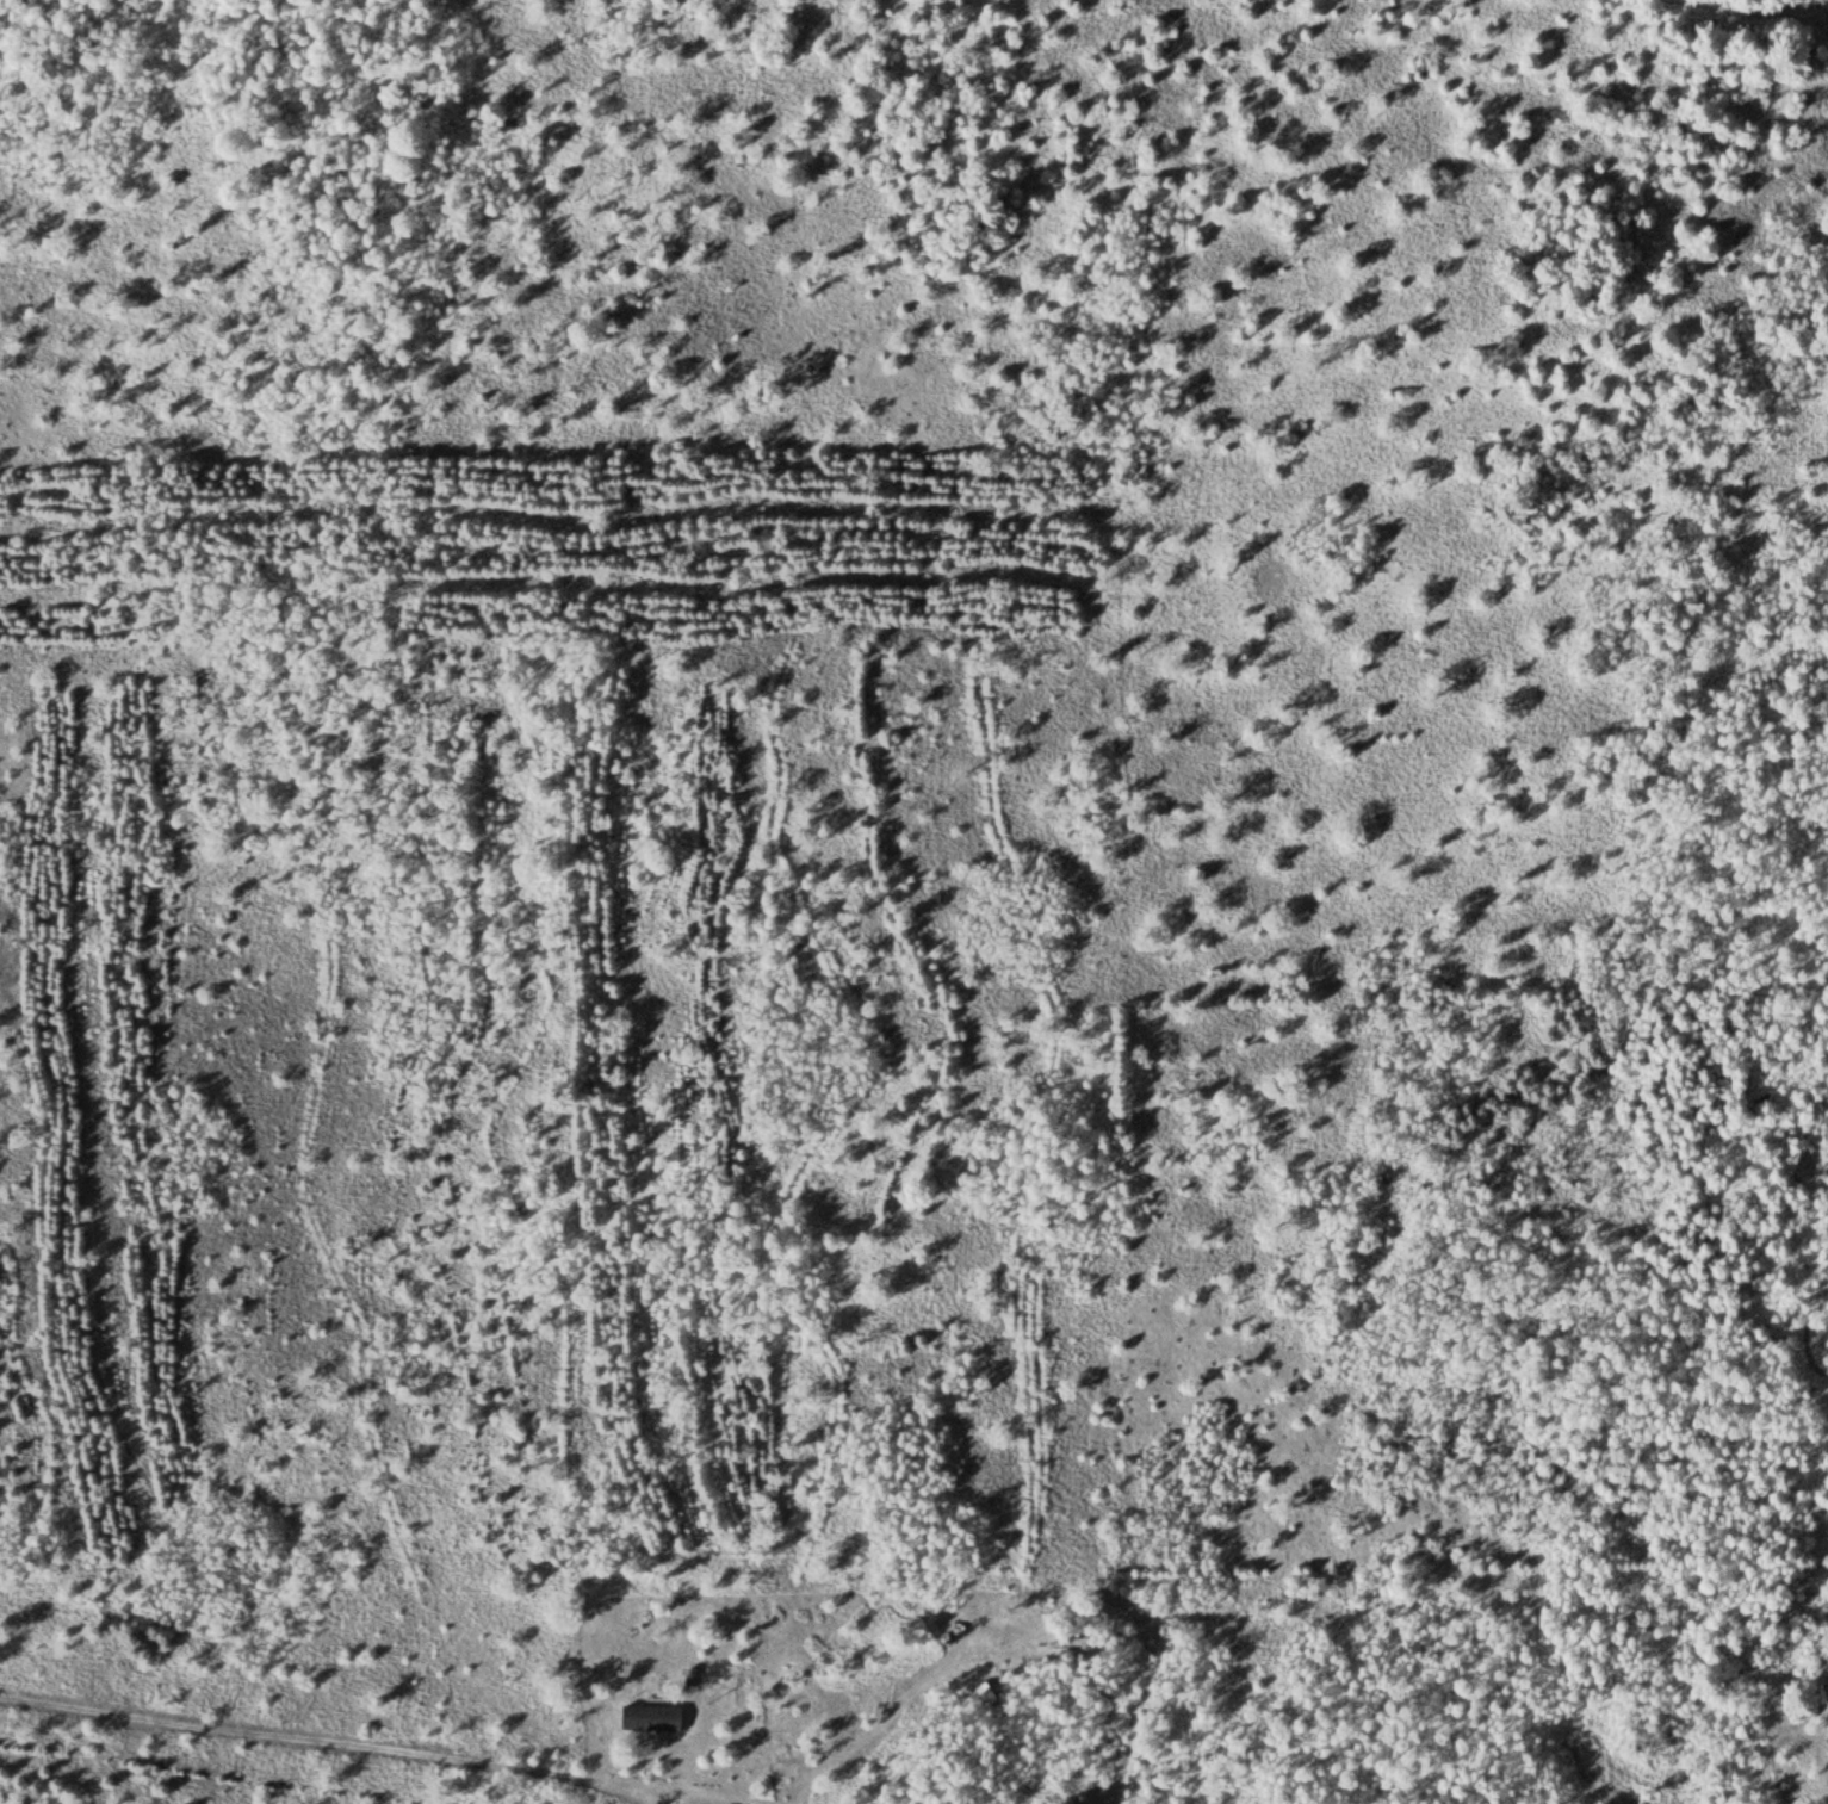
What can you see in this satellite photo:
building: (650, 1718)
road: (358, 1750)
road: (665, 1800)

